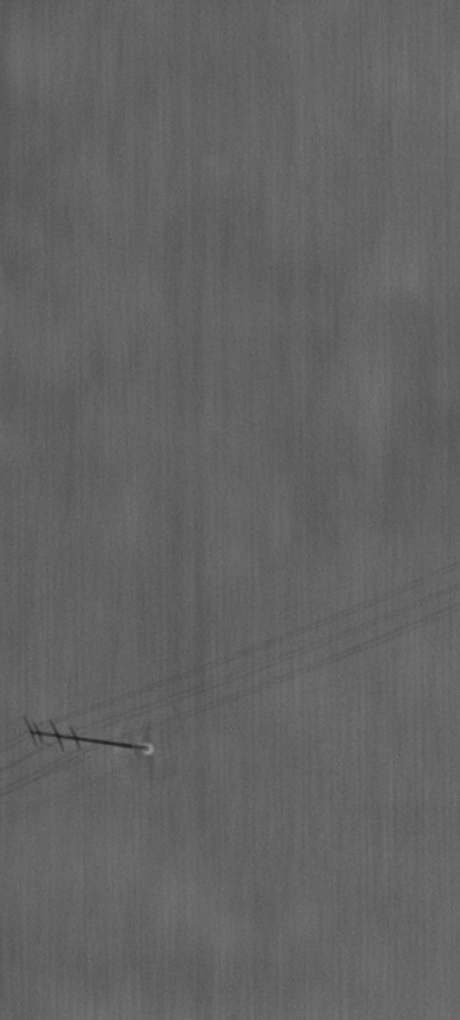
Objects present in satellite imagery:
power tower: (150, 748)

